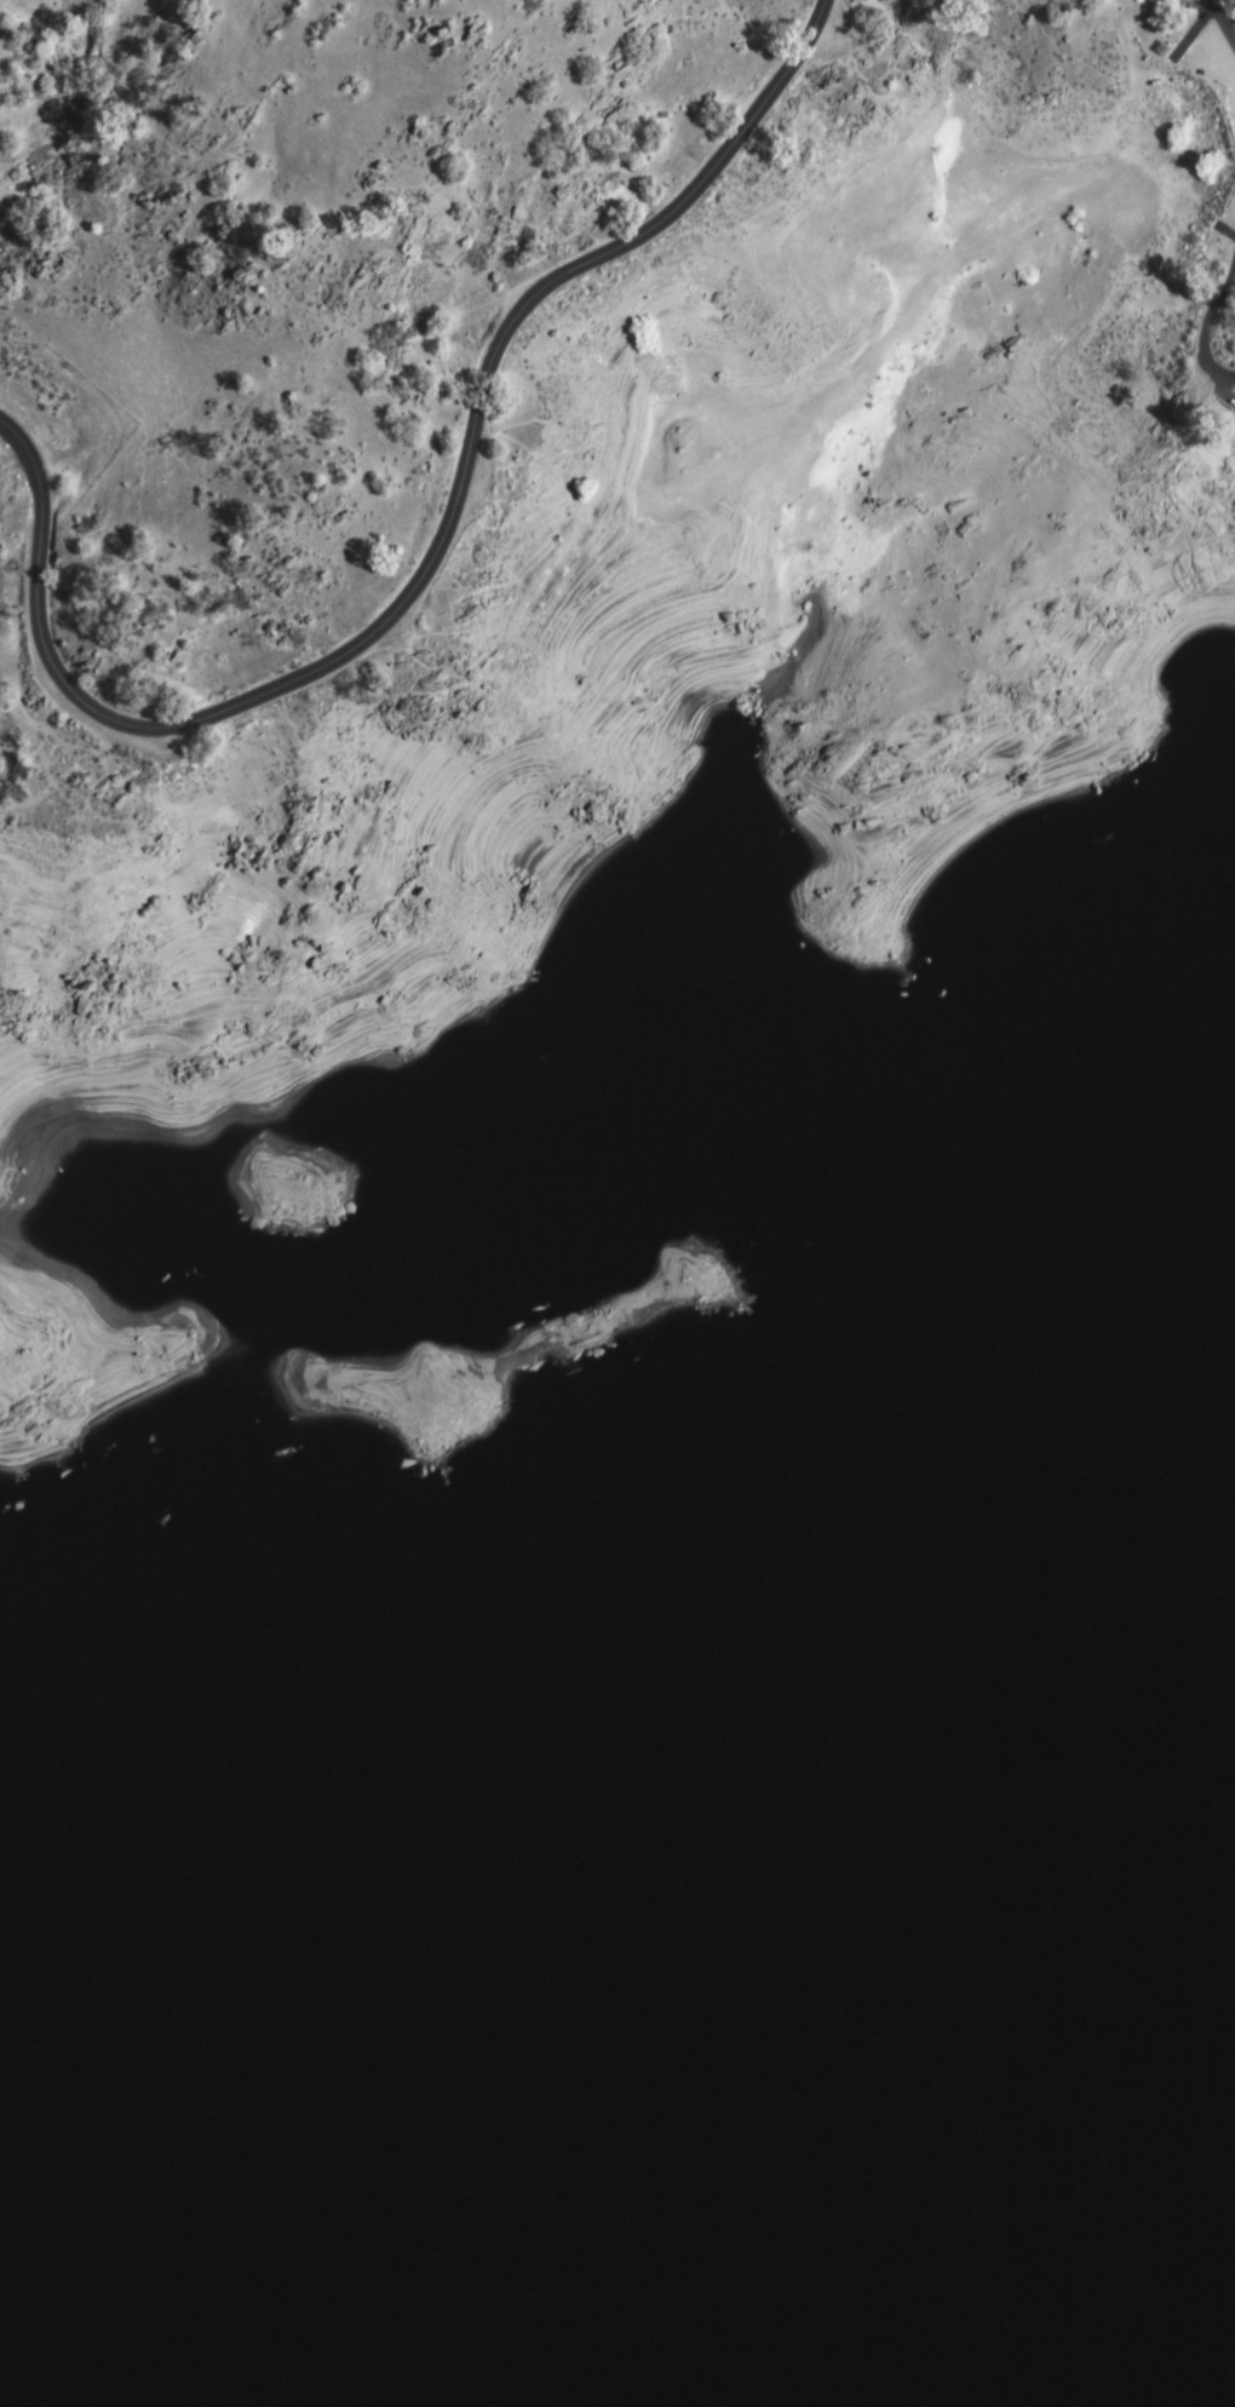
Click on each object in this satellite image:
road: (1223, 21)
road: (1208, 328)
road: (429, 561)
park: (650, 1305)

